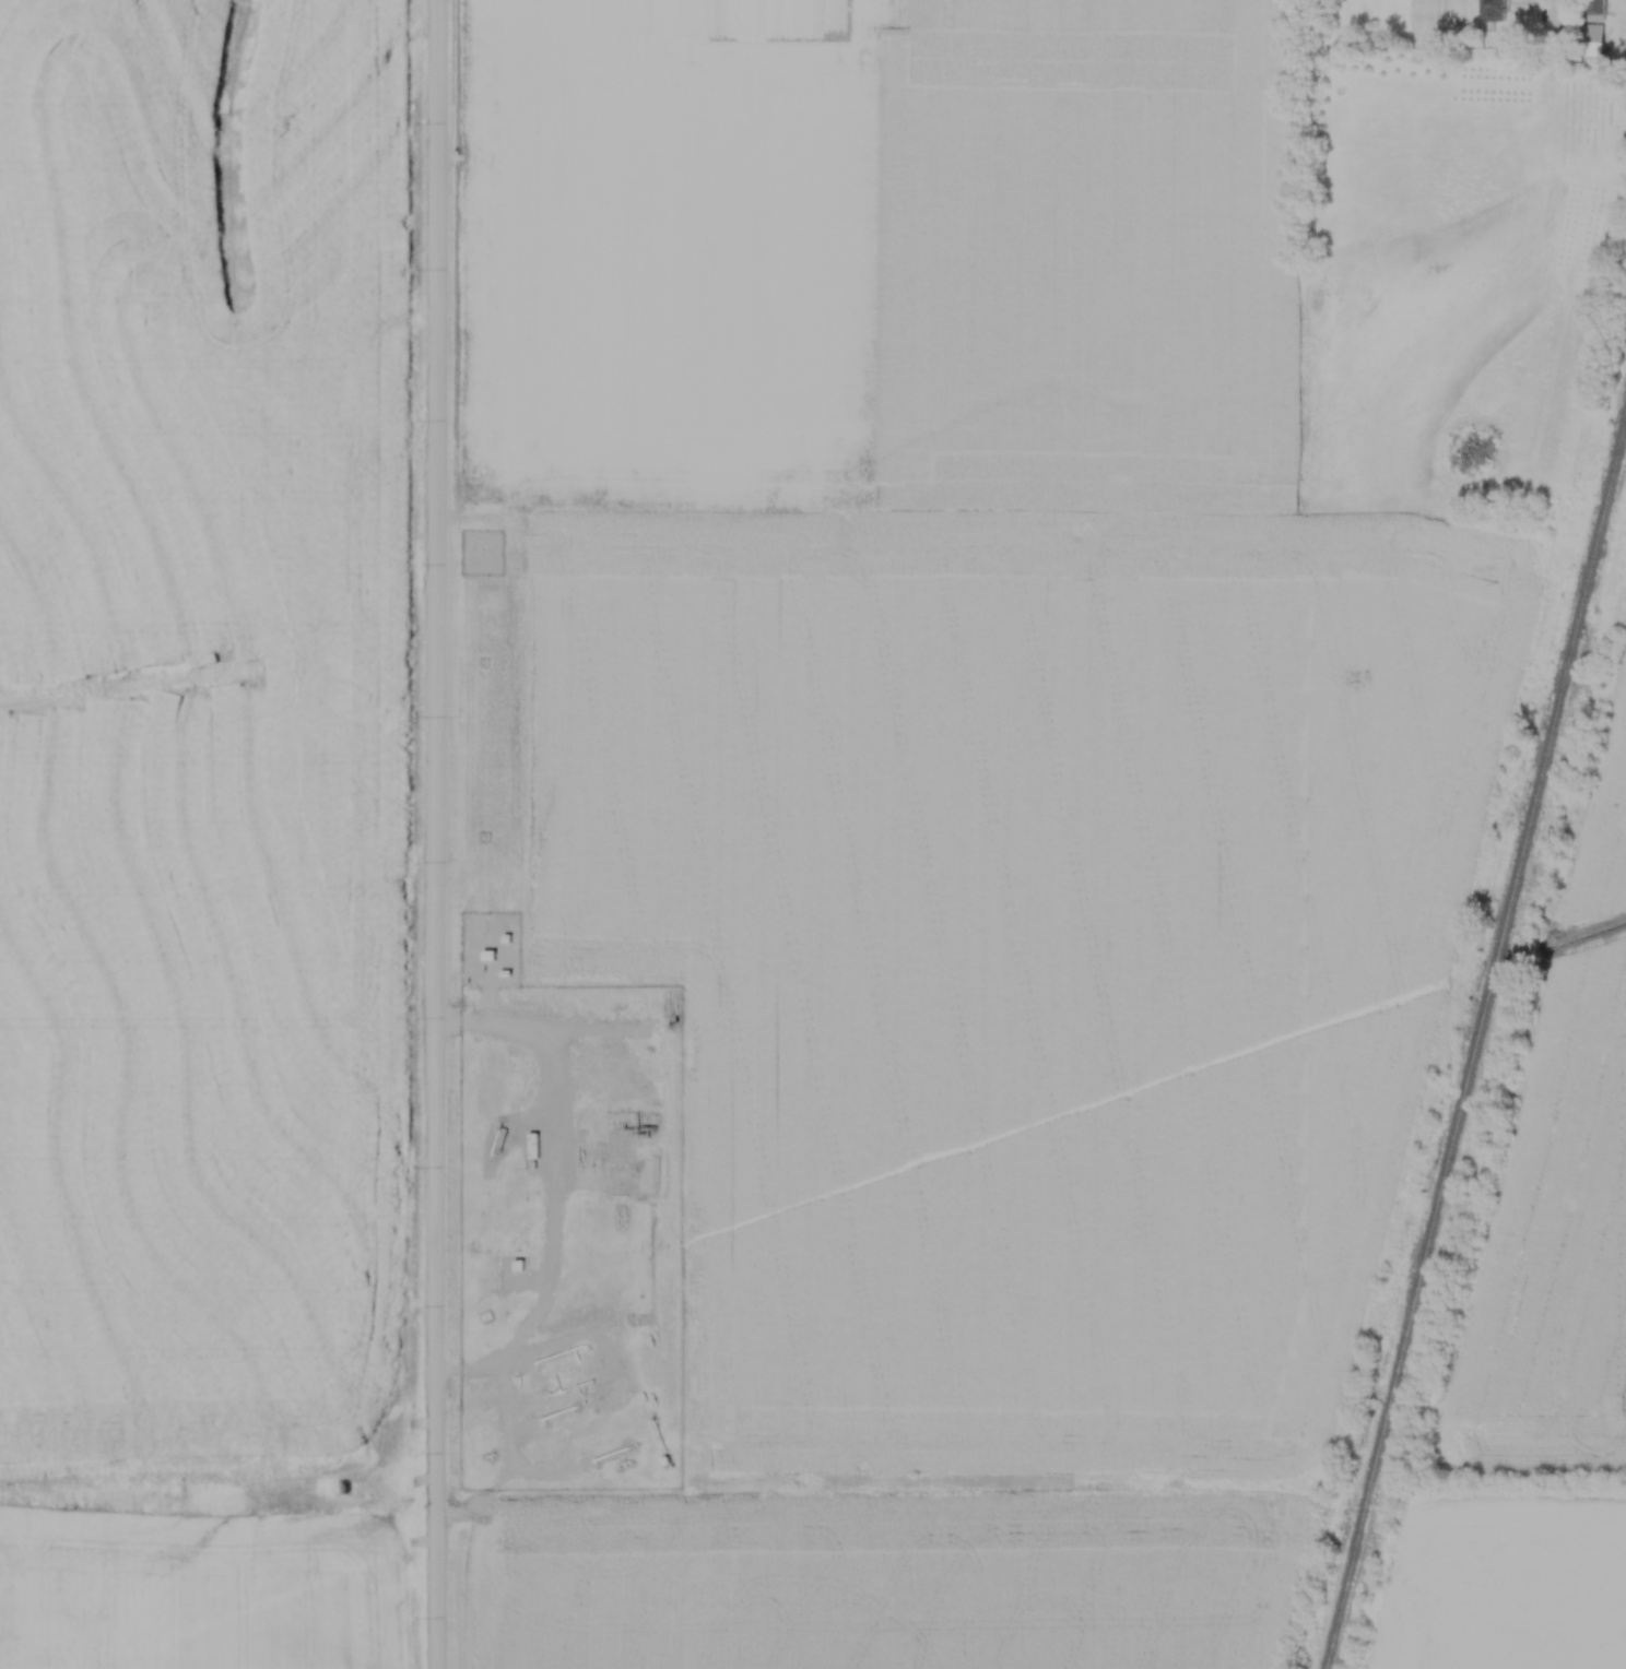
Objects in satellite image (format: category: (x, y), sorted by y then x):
building: (1599, 8)
building: (1494, 11)
road: (1560, 15)
building: (1594, 43)
road: (438, 834)
railway: (1482, 1042)
road: (557, 1182)

